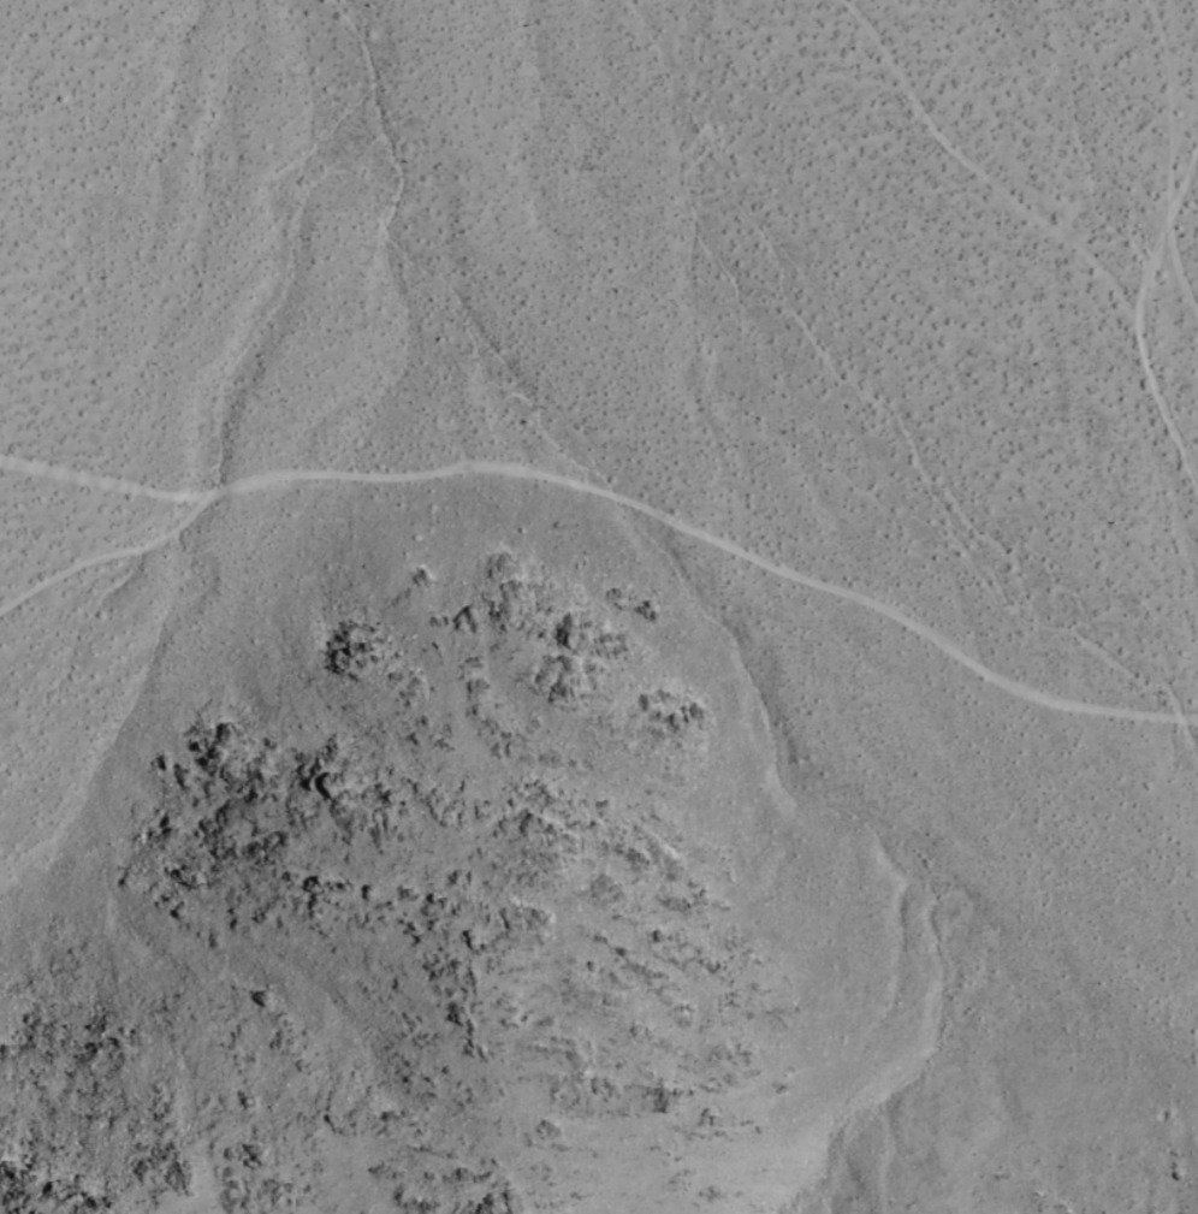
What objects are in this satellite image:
road: (1175, 245)
road: (617, 484)

